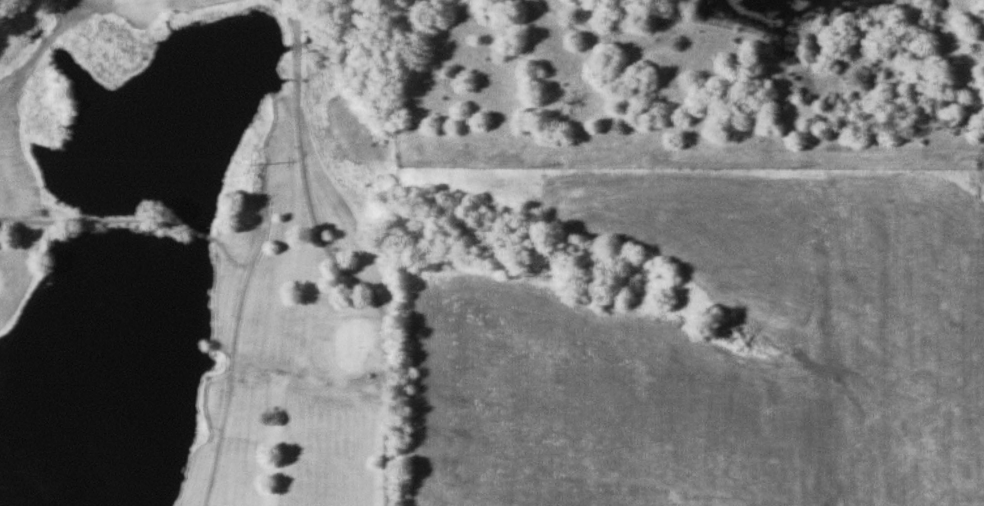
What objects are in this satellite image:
road: (46, 41)
road: (296, 107)
road: (387, 347)

